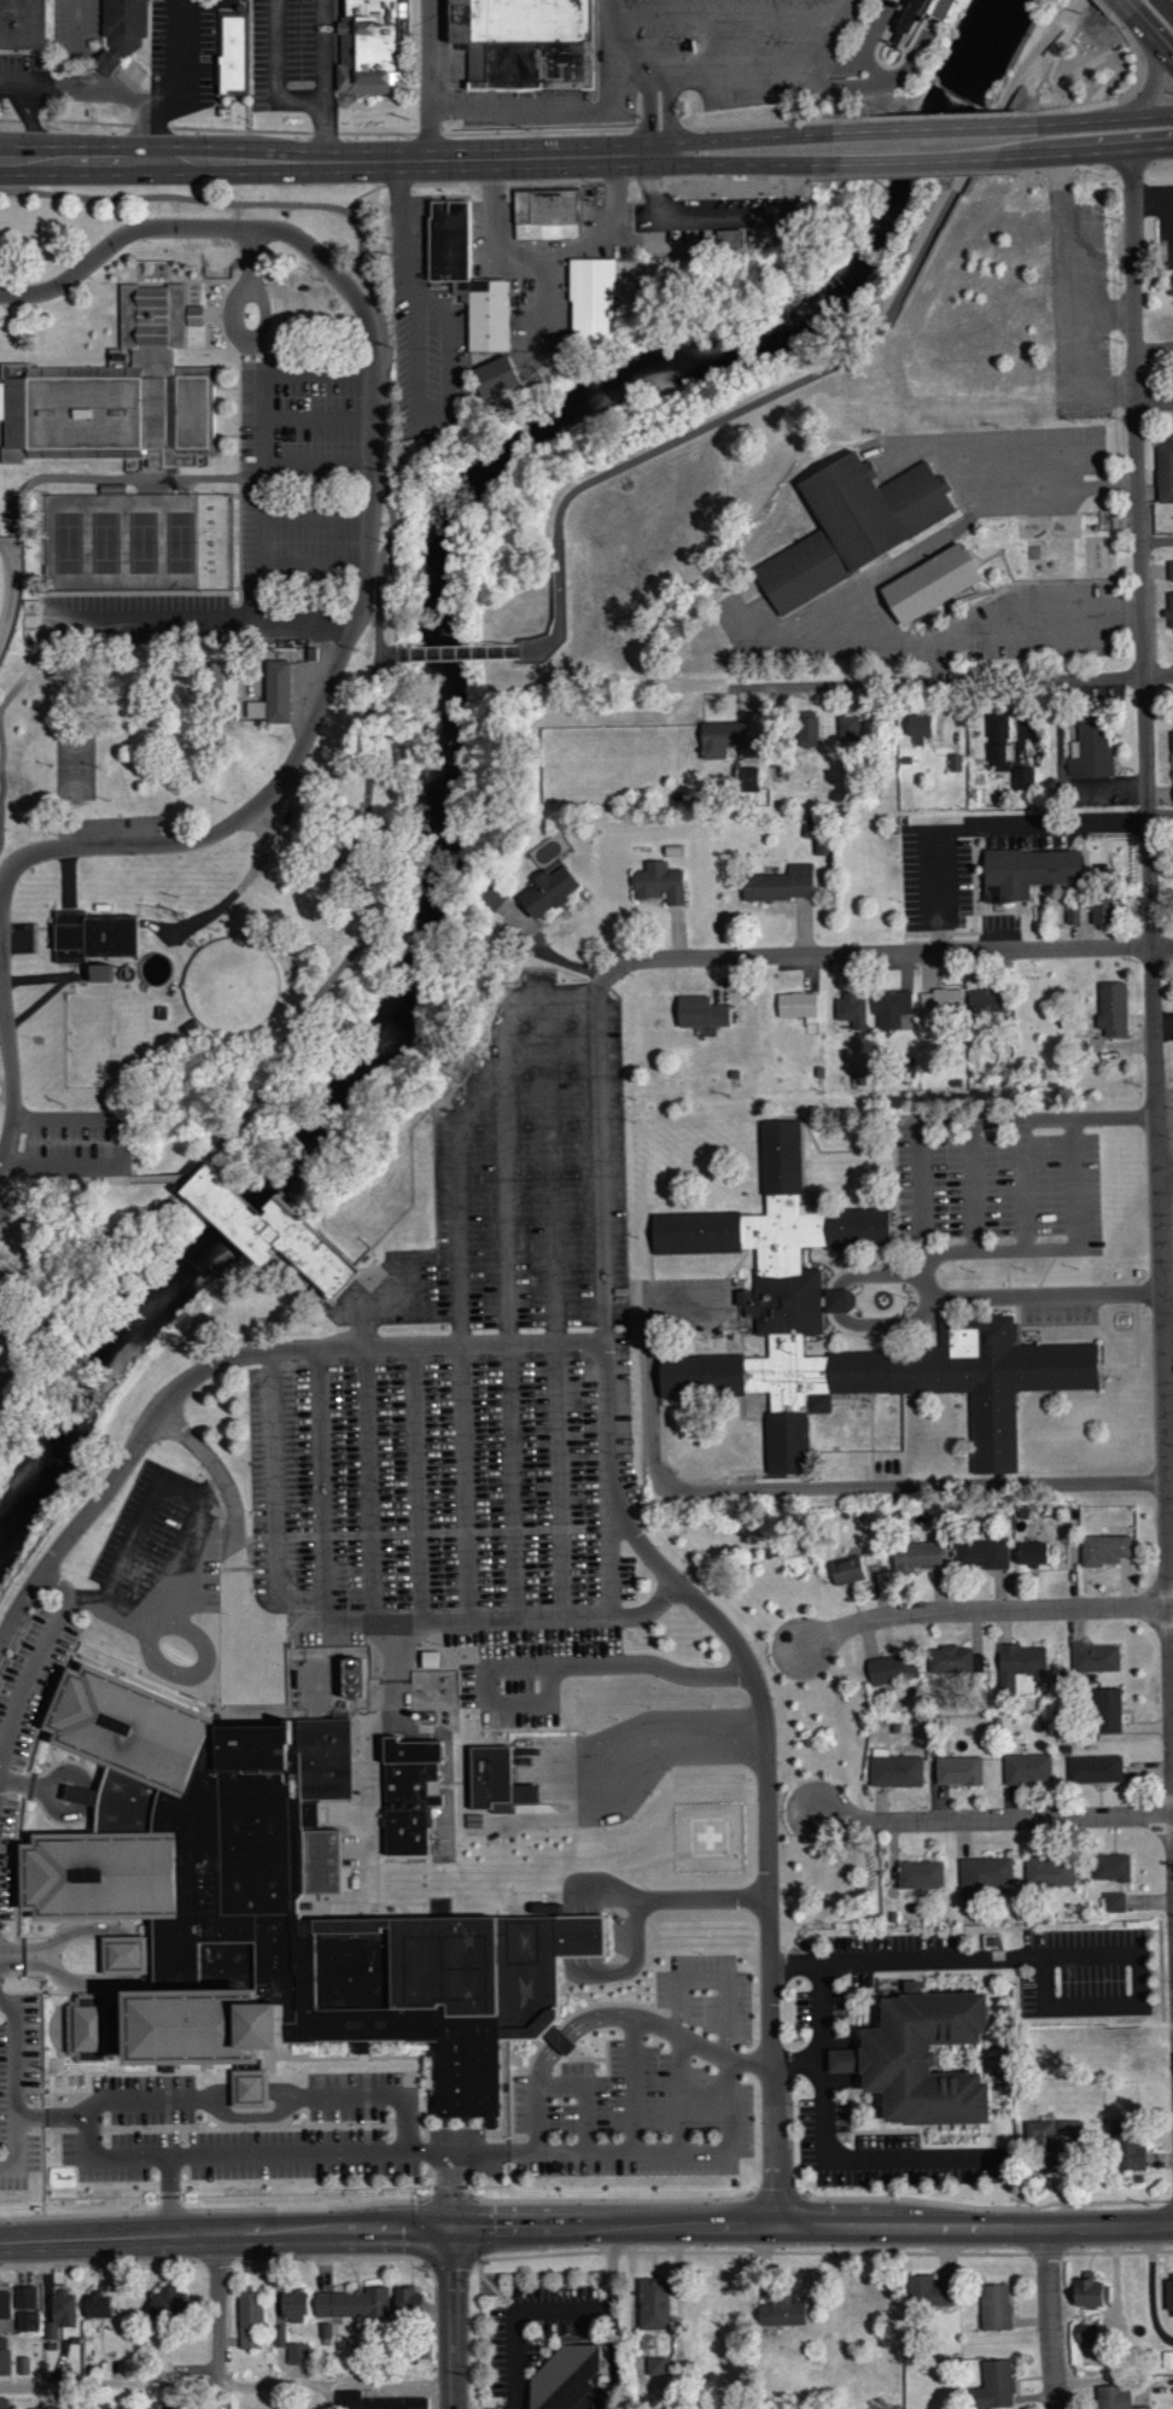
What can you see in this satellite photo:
road: (1078, 4)
road: (1127, 6)
road: (1165, 8)
road: (728, 17)
building: (905, 19)
building: (23, 25)
building: (122, 31)
road: (1152, 34)
building: (525, 43)
road: (864, 43)
road: (77, 45)
building: (370, 46)
parking lot: (188, 49)
building: (235, 51)
parking lot: (286, 56)
parking lot: (52, 58)
road: (612, 58)
road: (181, 62)
parking lot: (691, 62)
road: (1143, 65)
road: (841, 66)
road: (775, 68)
road: (1078, 74)
road: (278, 75)
road: (893, 76)
road: (8, 80)
road: (326, 80)
road: (432, 81)
road: (113, 95)
road: (1139, 100)
road: (541, 107)
road: (670, 109)
road: (649, 110)
road: (31, 121)
road: (1097, 121)
road: (929, 130)
road: (761, 138)
road: (679, 147)
road: (1101, 152)
road: (335, 162)
road: (934, 162)
road: (753, 164)
building: (544, 212)
road: (717, 216)
building: (726, 234)
building: (449, 239)
road: (539, 259)
road: (361, 261)
road: (404, 285)
building: (589, 297)
building: (490, 313)
road: (234, 326)
building: (492, 374)
road: (815, 374)
building: (121, 393)
road: (1154, 402)
road: (1021, 451)
building: (1163, 472)
park: (171, 488)
road: (1058, 488)
road: (369, 511)
building: (852, 524)
road: (257, 538)
road: (1156, 539)
park: (62, 544)
park: (103, 544)
park: (144, 544)
park: (181, 544)
road: (882, 567)
building: (1169, 571)
park: (2, 577)
building: (929, 581)
building: (556, 608)
building: (1171, 609)
road: (1020, 614)
road: (305, 623)
road: (838, 635)
road: (461, 652)
building: (311, 657)
road: (951, 682)
building: (222, 693)
building: (272, 695)
river: (444, 707)
building: (916, 728)
building: (848, 729)
building: (997, 730)
building: (806, 733)
building: (720, 739)
building: (1172, 742)
building: (1090, 749)
building: (999, 759)
building: (955, 763)
park: (75, 764)
building: (1022, 778)
building: (747, 780)
road: (1161, 813)
road: (982, 823)
building: (821, 846)
building: (1028, 870)
building: (1102, 870)
road: (250, 876)
building: (659, 882)
building: (778, 883)
building: (545, 892)
building: (492, 897)
road: (1151, 904)
building: (1101, 910)
building: (1073, 915)
road: (876, 955)
building: (94, 973)
building: (981, 998)
building: (940, 1002)
building: (798, 1005)
building: (1111, 1008)
building: (851, 1010)
building: (892, 1010)
building: (700, 1013)
building: (1073, 1021)
road: (280, 1049)
road: (8, 1051)
building: (906, 1067)
road: (1166, 1172)
road: (1078, 1182)
road: (1023, 1183)
road: (973, 1184)
parking lot: (1004, 1197)
road: (923, 1207)
building: (264, 1232)
road: (1002, 1248)
road: (460, 1264)
building: (782, 1296)
building: (835, 1300)
road: (689, 1303)
road: (603, 1307)
road: (558, 1308)
road: (840, 1311)
road: (508, 1329)
road: (224, 1360)
parking lot: (475, 1399)
road: (1169, 1413)
road: (212, 1469)
road: (320, 1483)
road: (416, 1485)
road: (368, 1486)
road: (824, 1486)
building: (1103, 1550)
building: (981, 1553)
building: (1032, 1553)
building: (916, 1556)
building: (846, 1570)
road: (675, 1574)
road: (82, 1602)
road: (127, 1610)
road: (986, 1611)
road: (321, 1615)
road: (163, 1625)
building: (1095, 1657)
building: (427, 1660)
building: (955, 1660)
building: (1017, 1664)
building: (891, 1668)
road: (486, 1670)
road: (688, 1675)
building: (442, 1697)
parking lot: (27, 1702)
building: (1108, 1710)
road: (669, 1733)
road: (363, 1736)
building: (1027, 1768)
building: (894, 1769)
building: (1095, 1769)
building: (957, 1771)
building: (492, 1773)
road: (23, 1785)
building: (409, 1790)
road: (81, 1796)
road: (994, 1820)
helipad: (710, 1833)
building: (1111, 1867)
building: (1049, 1872)
building: (920, 1874)
building: (982, 1877)
road: (765, 1895)
building: (1114, 1902)
building: (269, 1905)
road: (584, 1906)
building: (993, 1941)
road: (140, 1949)
road: (27, 1958)
road: (953, 1958)
road: (702, 1981)
road: (1093, 2002)
road: (669, 2034)
road: (564, 2041)
building: (917, 2057)
road: (816, 2058)
parking lot: (804, 2059)
road: (792, 2061)
parking lot: (652, 2065)
road: (631, 2087)
road: (585, 2096)
road: (197, 2101)
road: (16, 2111)
road: (251, 2116)
parking lot: (57, 2122)
building: (1068, 2129)
parking lot: (391, 2131)
building: (1041, 2143)
road: (16, 2150)
road: (632, 2154)
road: (916, 2154)
building: (1130, 2157)
road: (475, 2158)
road: (299, 2164)
helipad: (252, 2165)
road: (453, 2195)
road: (813, 2230)
traffic signals: (455, 2233)
road: (227, 2234)
building: (1089, 2292)
building: (927, 2293)
building: (25, 2298)
building: (1168, 2298)
building: (405, 2302)
building: (165, 2304)
building: (351, 2304)
building: (652, 2304)
building: (95, 2305)
building: (5, 2306)
building: (293, 2306)
building: (994, 2308)
road: (555, 2309)
building: (782, 2314)
building: (60, 2315)
building: (249, 2318)
road: (1050, 2320)
road: (220, 2321)
road: (455, 2321)
building: (28, 2322)
building: (1085, 2333)
building: (279, 2337)
building: (297, 2353)
building: (4, 2356)
building: (1167, 2360)
building: (655, 2367)
building: (564, 2379)
road: (656, 2381)
road: (227, 2384)
building: (993, 2387)
road: (333, 2396)
building: (1114, 2398)
building: (4, 2403)
building: (395, 2403)

